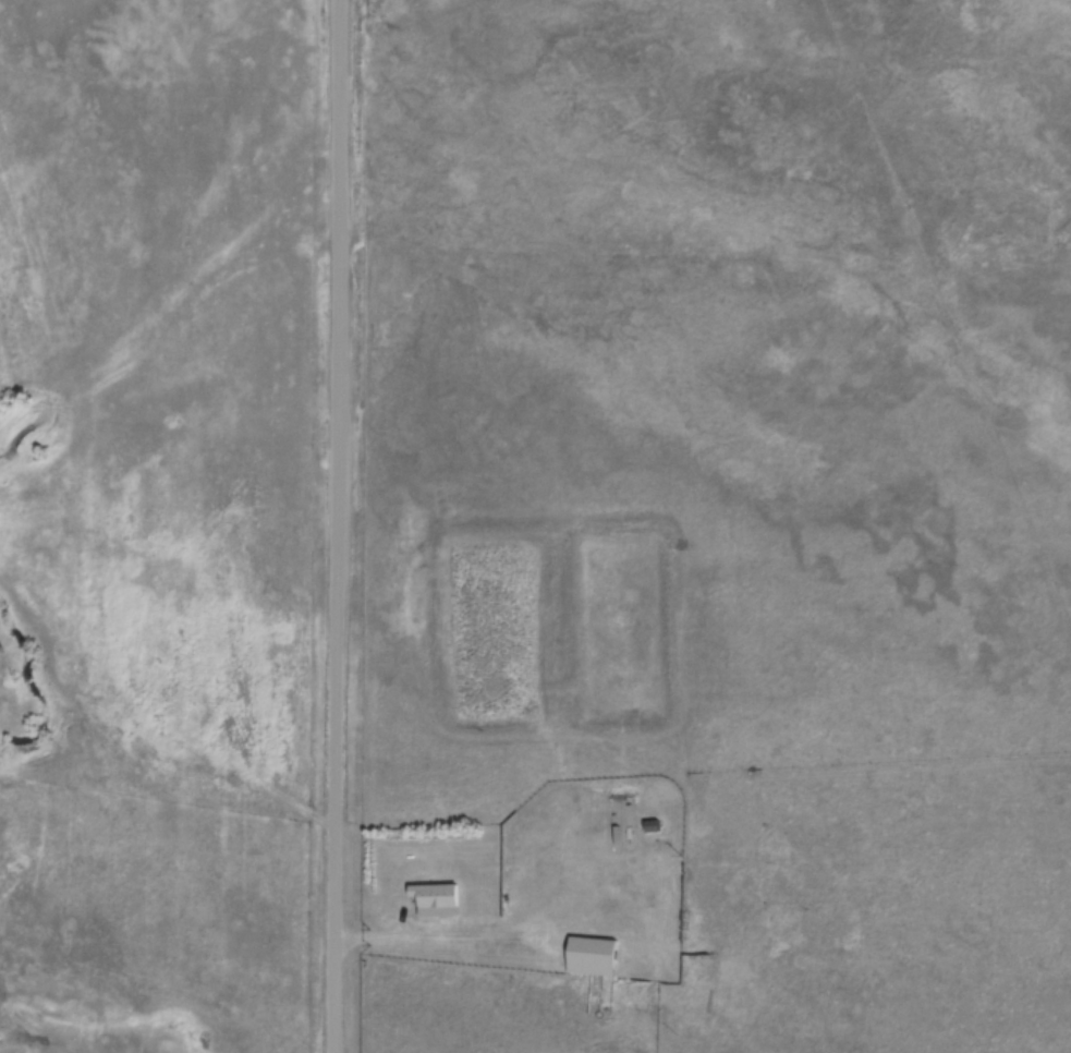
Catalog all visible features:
road: (336, 526)
building: (436, 897)

